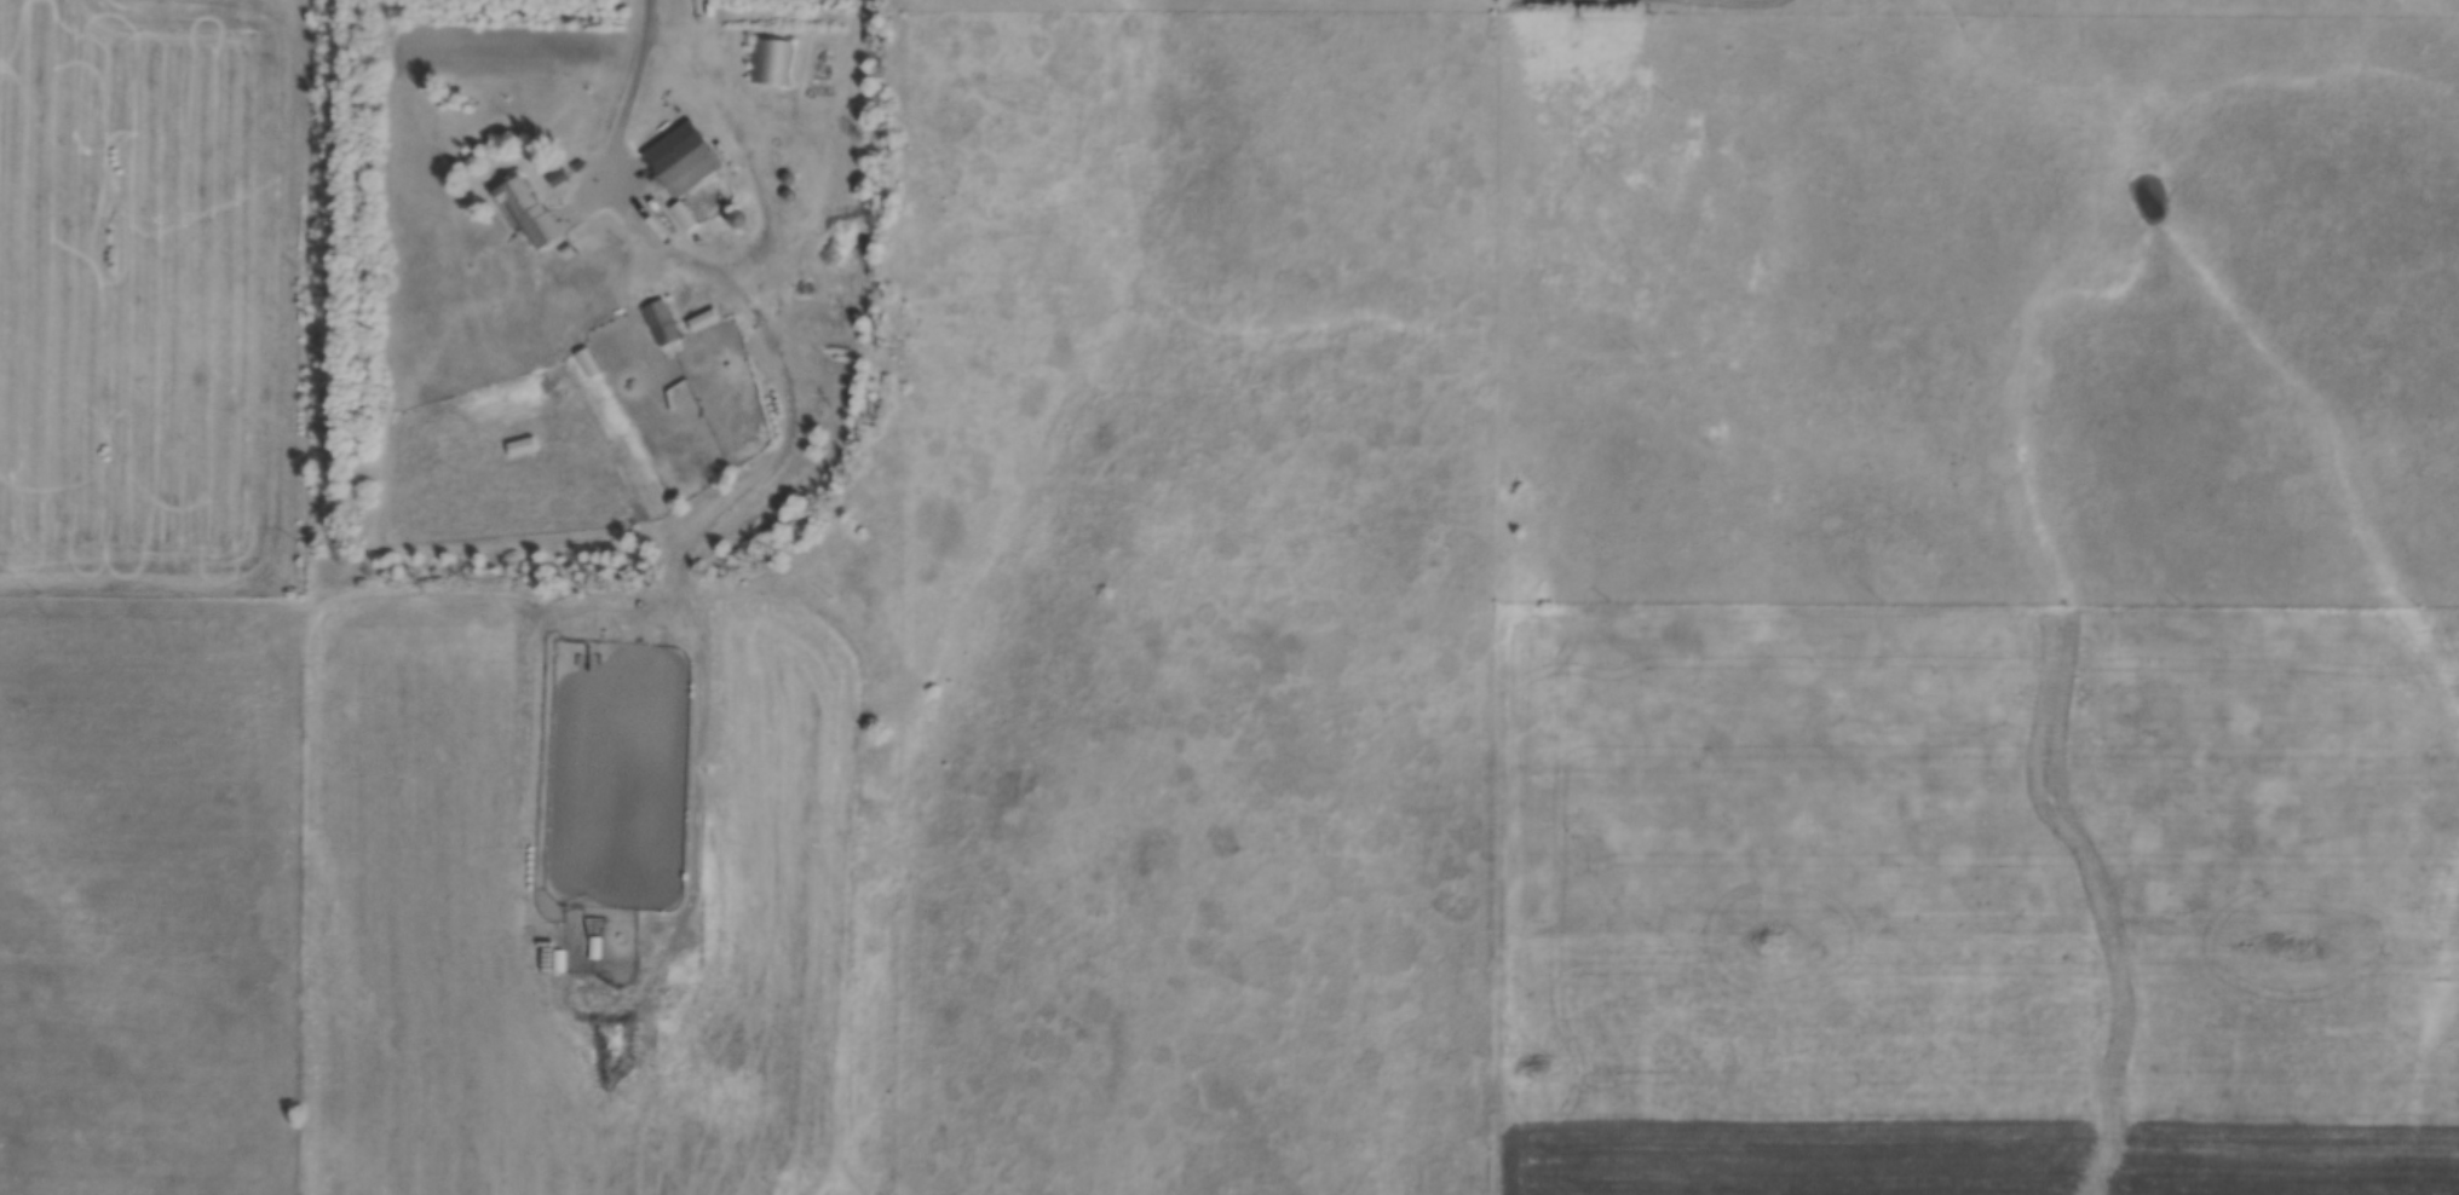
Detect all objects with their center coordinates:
building: (770, 60)
road: (627, 112)
building: (684, 158)
building: (530, 212)
building: (662, 322)

